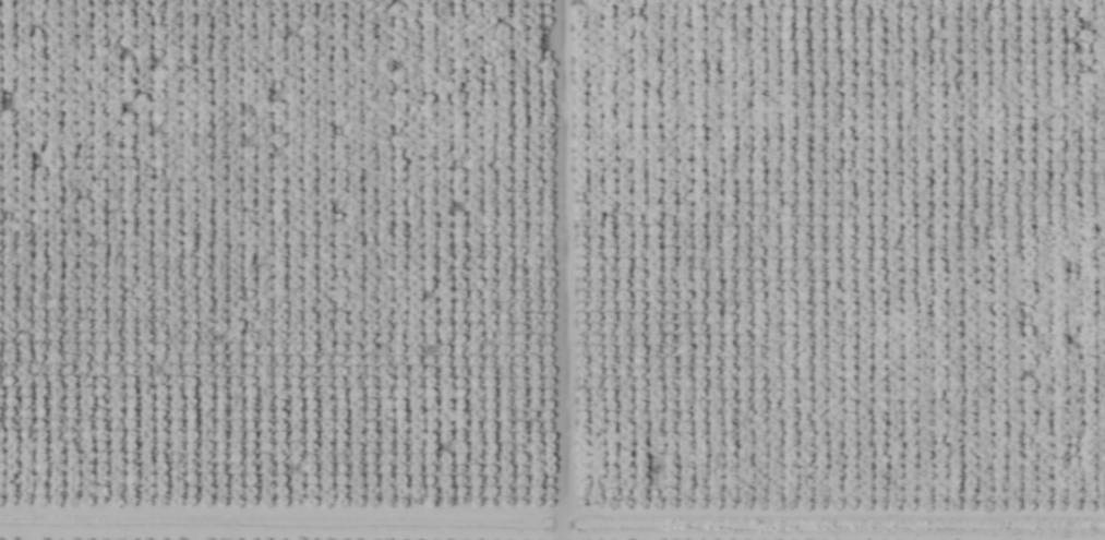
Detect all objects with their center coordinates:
road: (558, 269)

